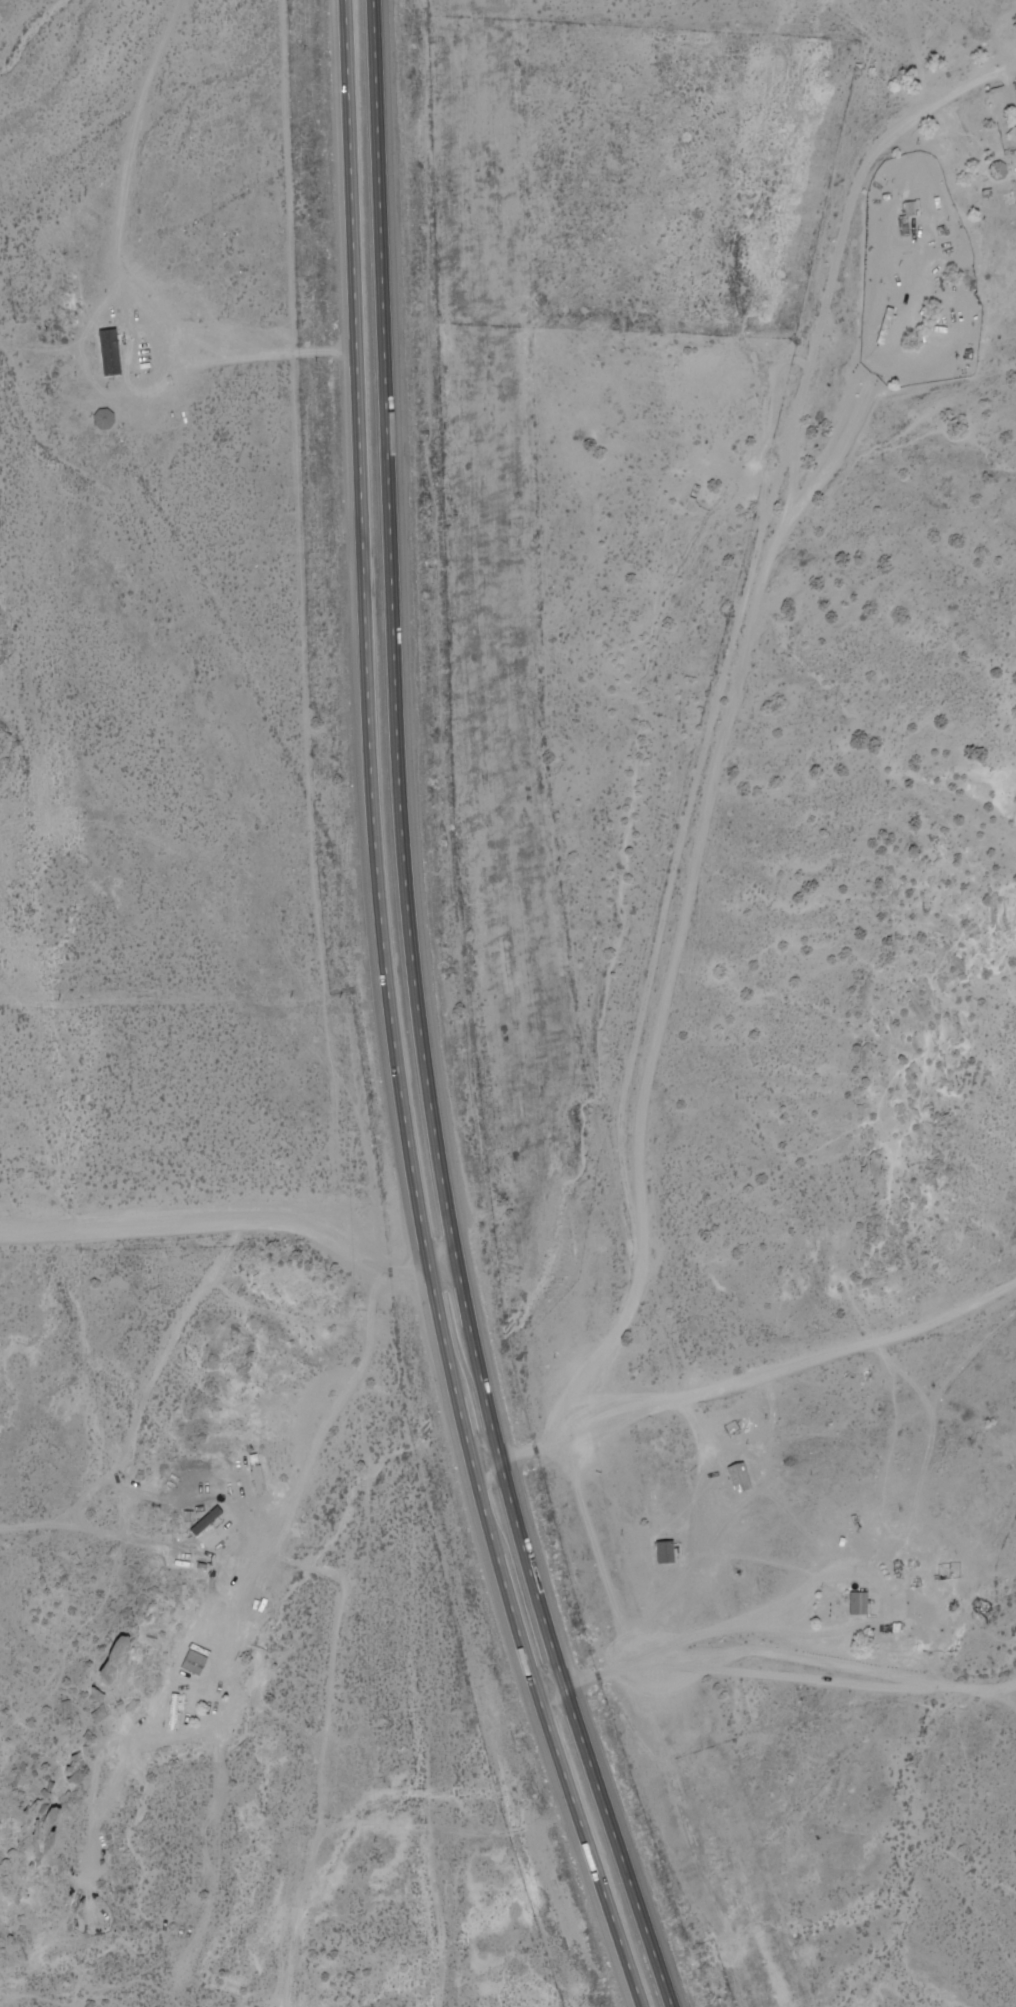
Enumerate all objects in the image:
road: (1014, 53)
building: (111, 352)
road: (733, 719)
road: (395, 1019)
road: (423, 1019)
road: (236, 1221)
road: (755, 1396)
building: (734, 1478)
road: (275, 1537)
building: (667, 1551)
road: (238, 1623)
road: (779, 1655)
road: (1010, 1700)

